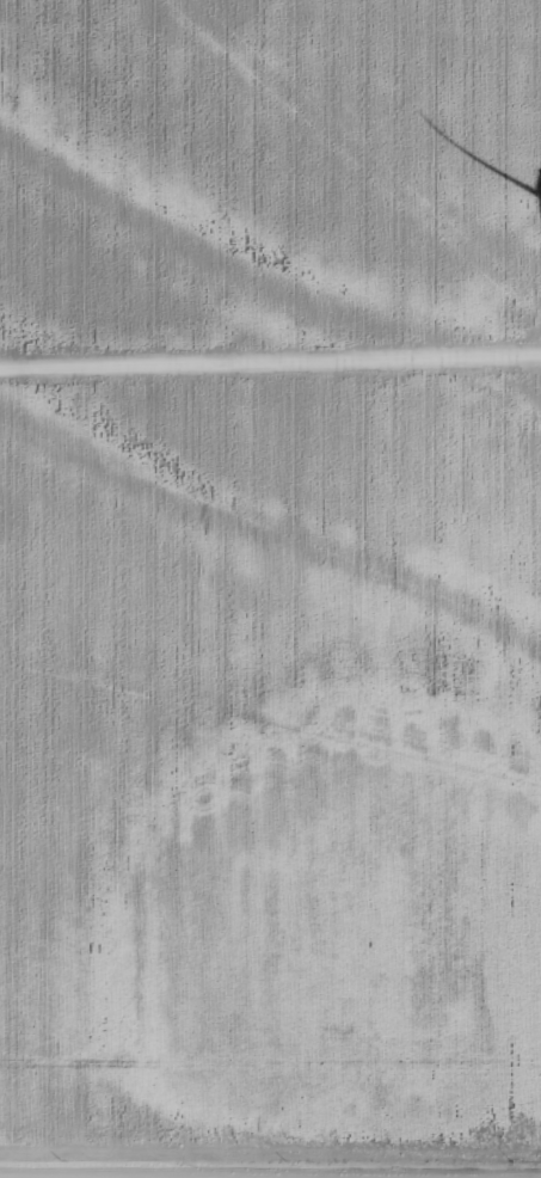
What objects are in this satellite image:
road: (270, 1171)

